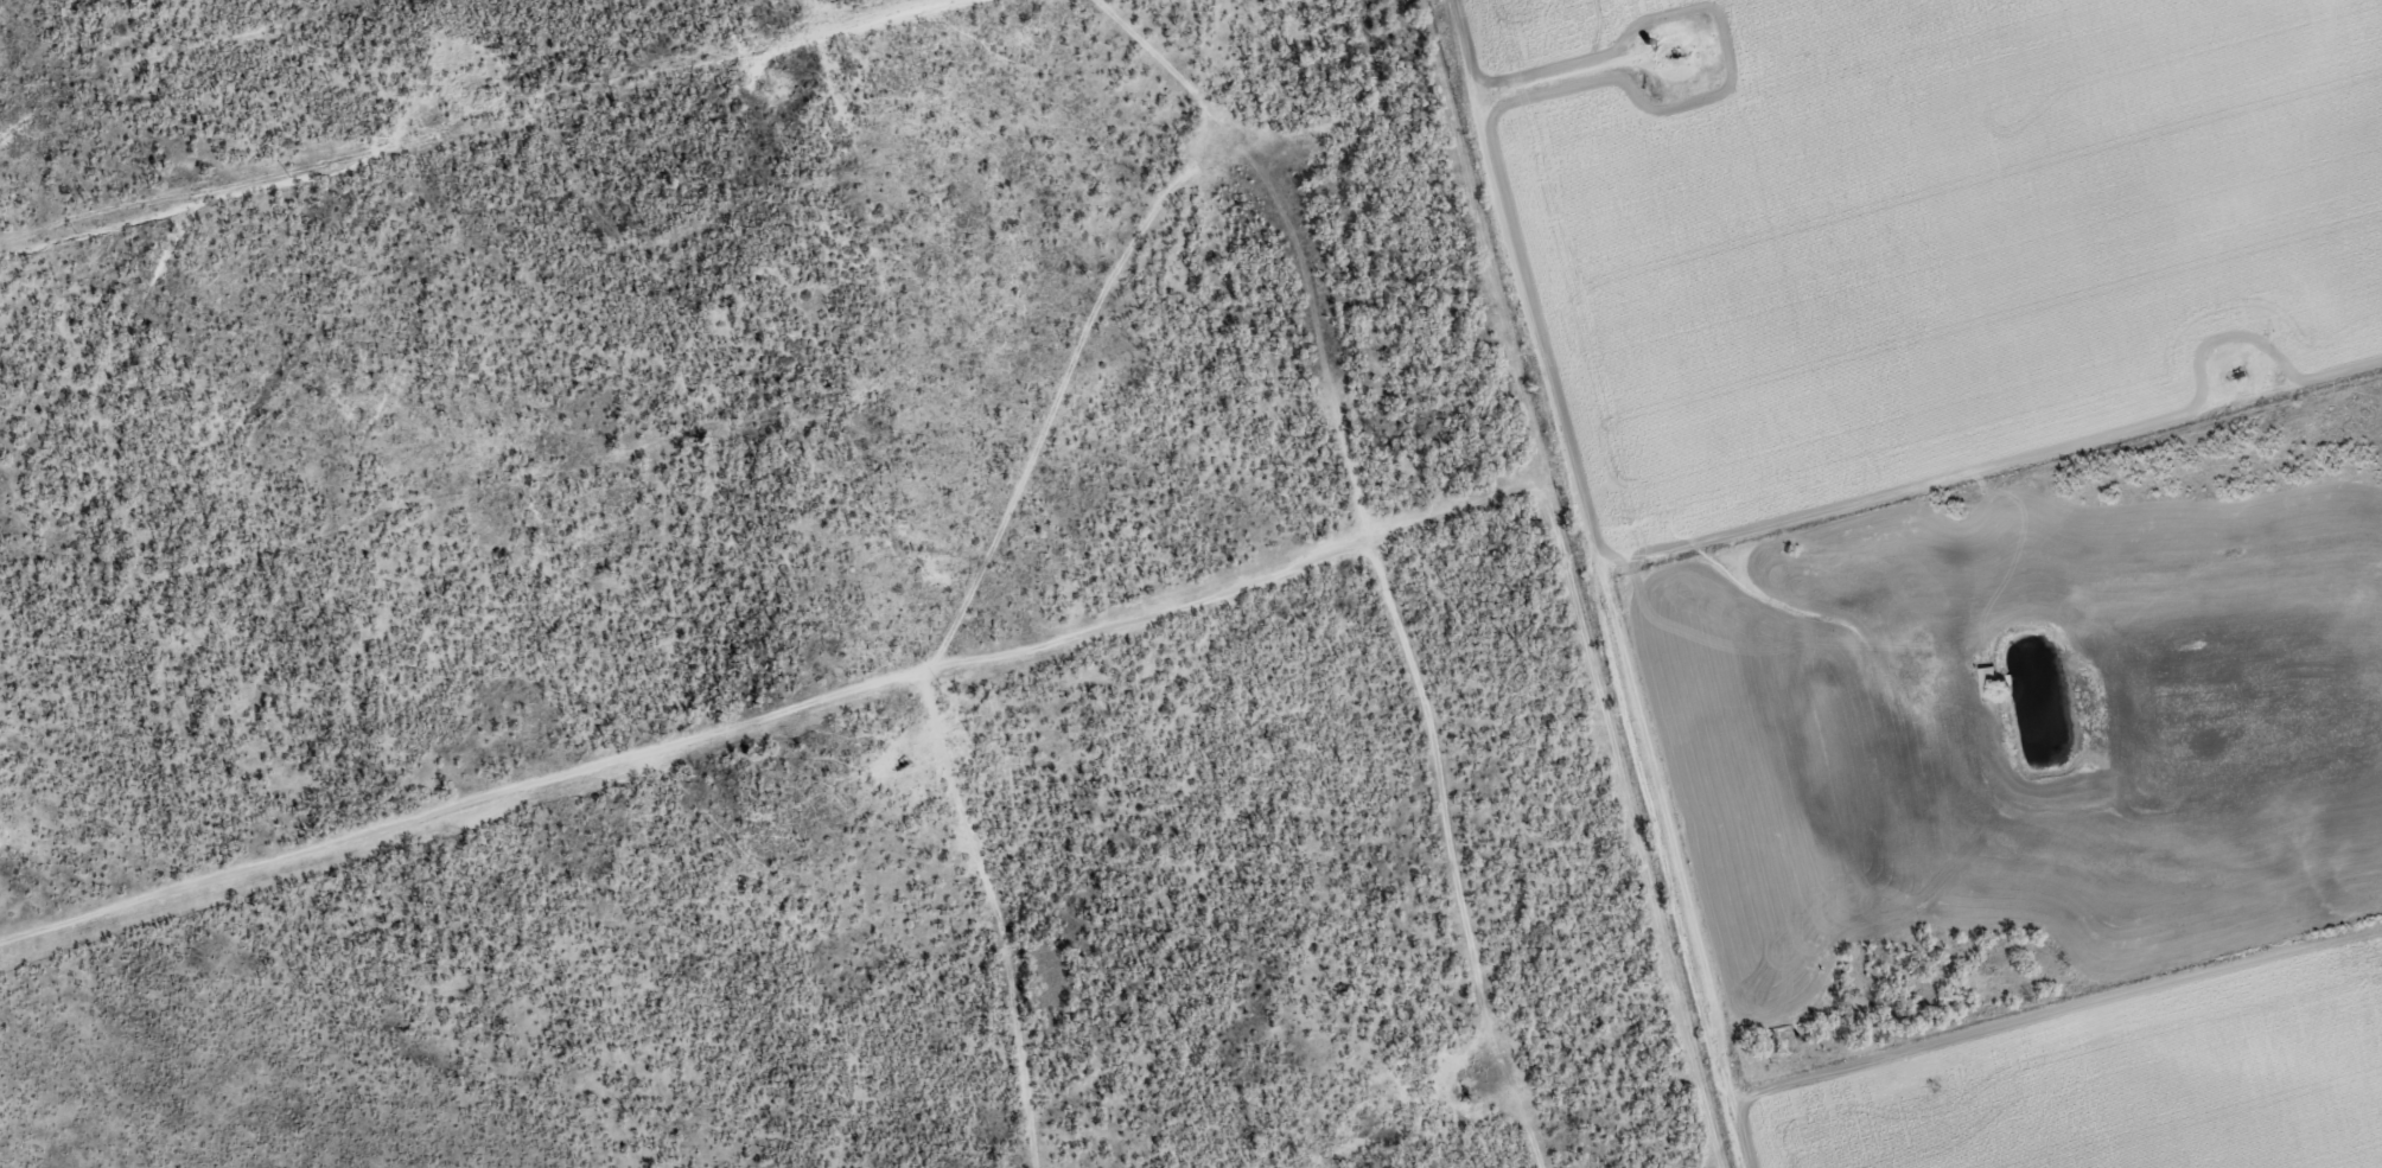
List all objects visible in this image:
building: (1988, 682)

